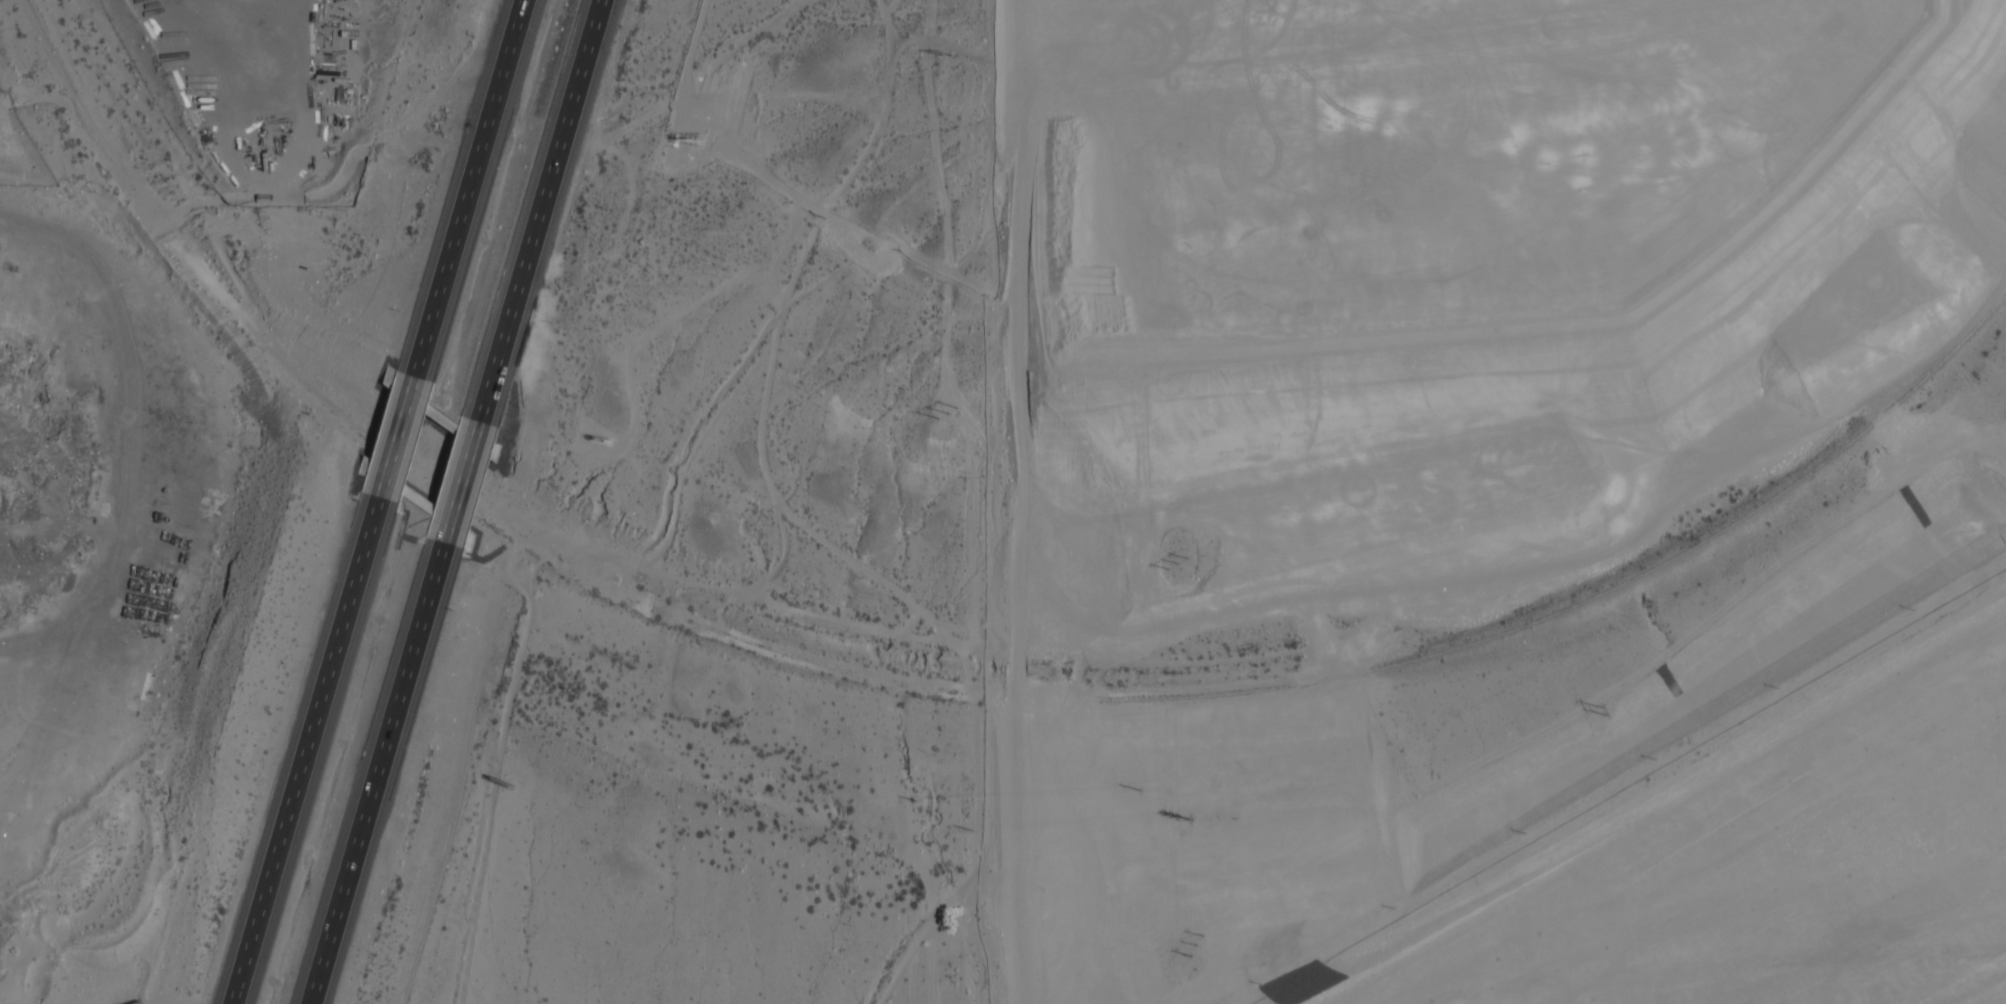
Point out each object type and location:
railway: (77, 89)
road: (32, 186)
road: (468, 186)
road: (545, 213)
road: (395, 434)
road: (466, 485)
railway: (1600, 593)
railway: (803, 658)
road: (305, 750)
road: (383, 774)

